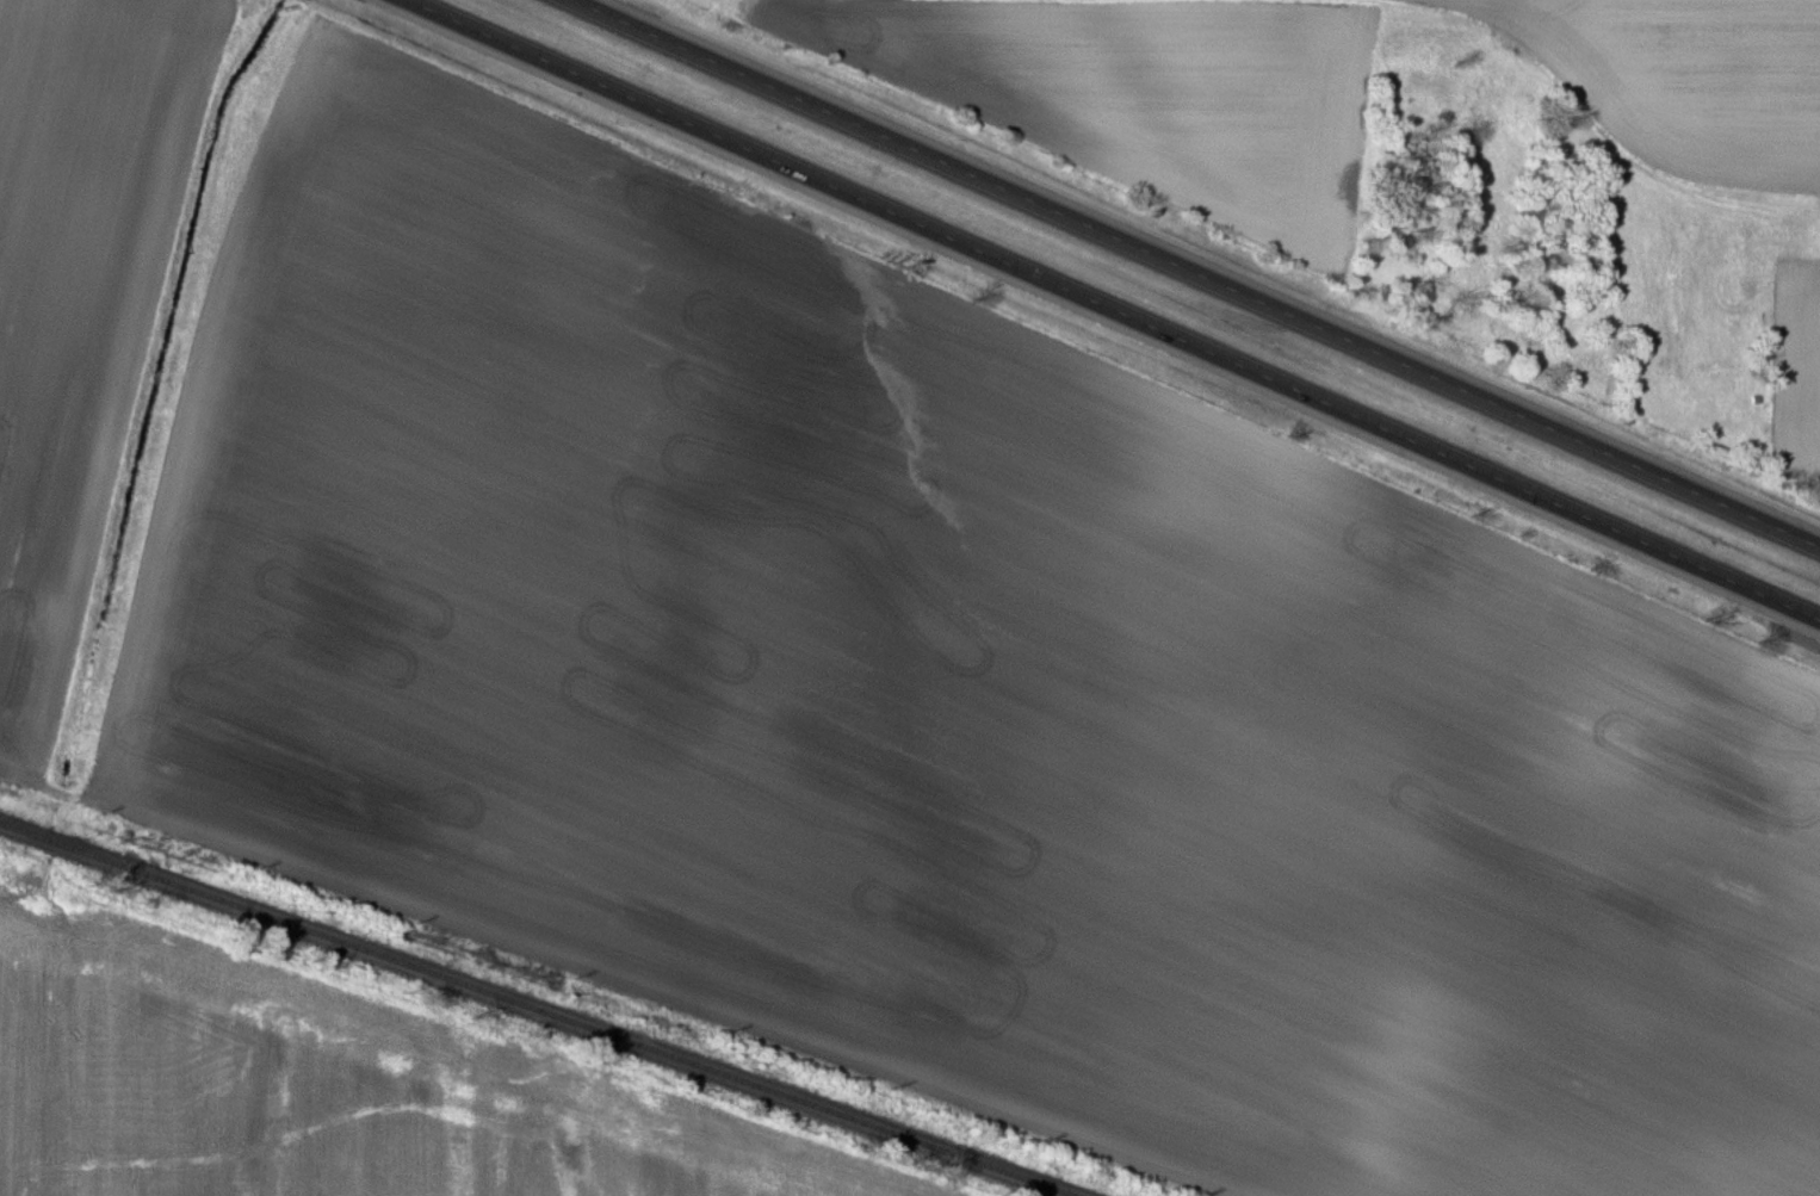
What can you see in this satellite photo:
road: (1201, 275)
road: (1112, 310)
railway: (537, 1012)

